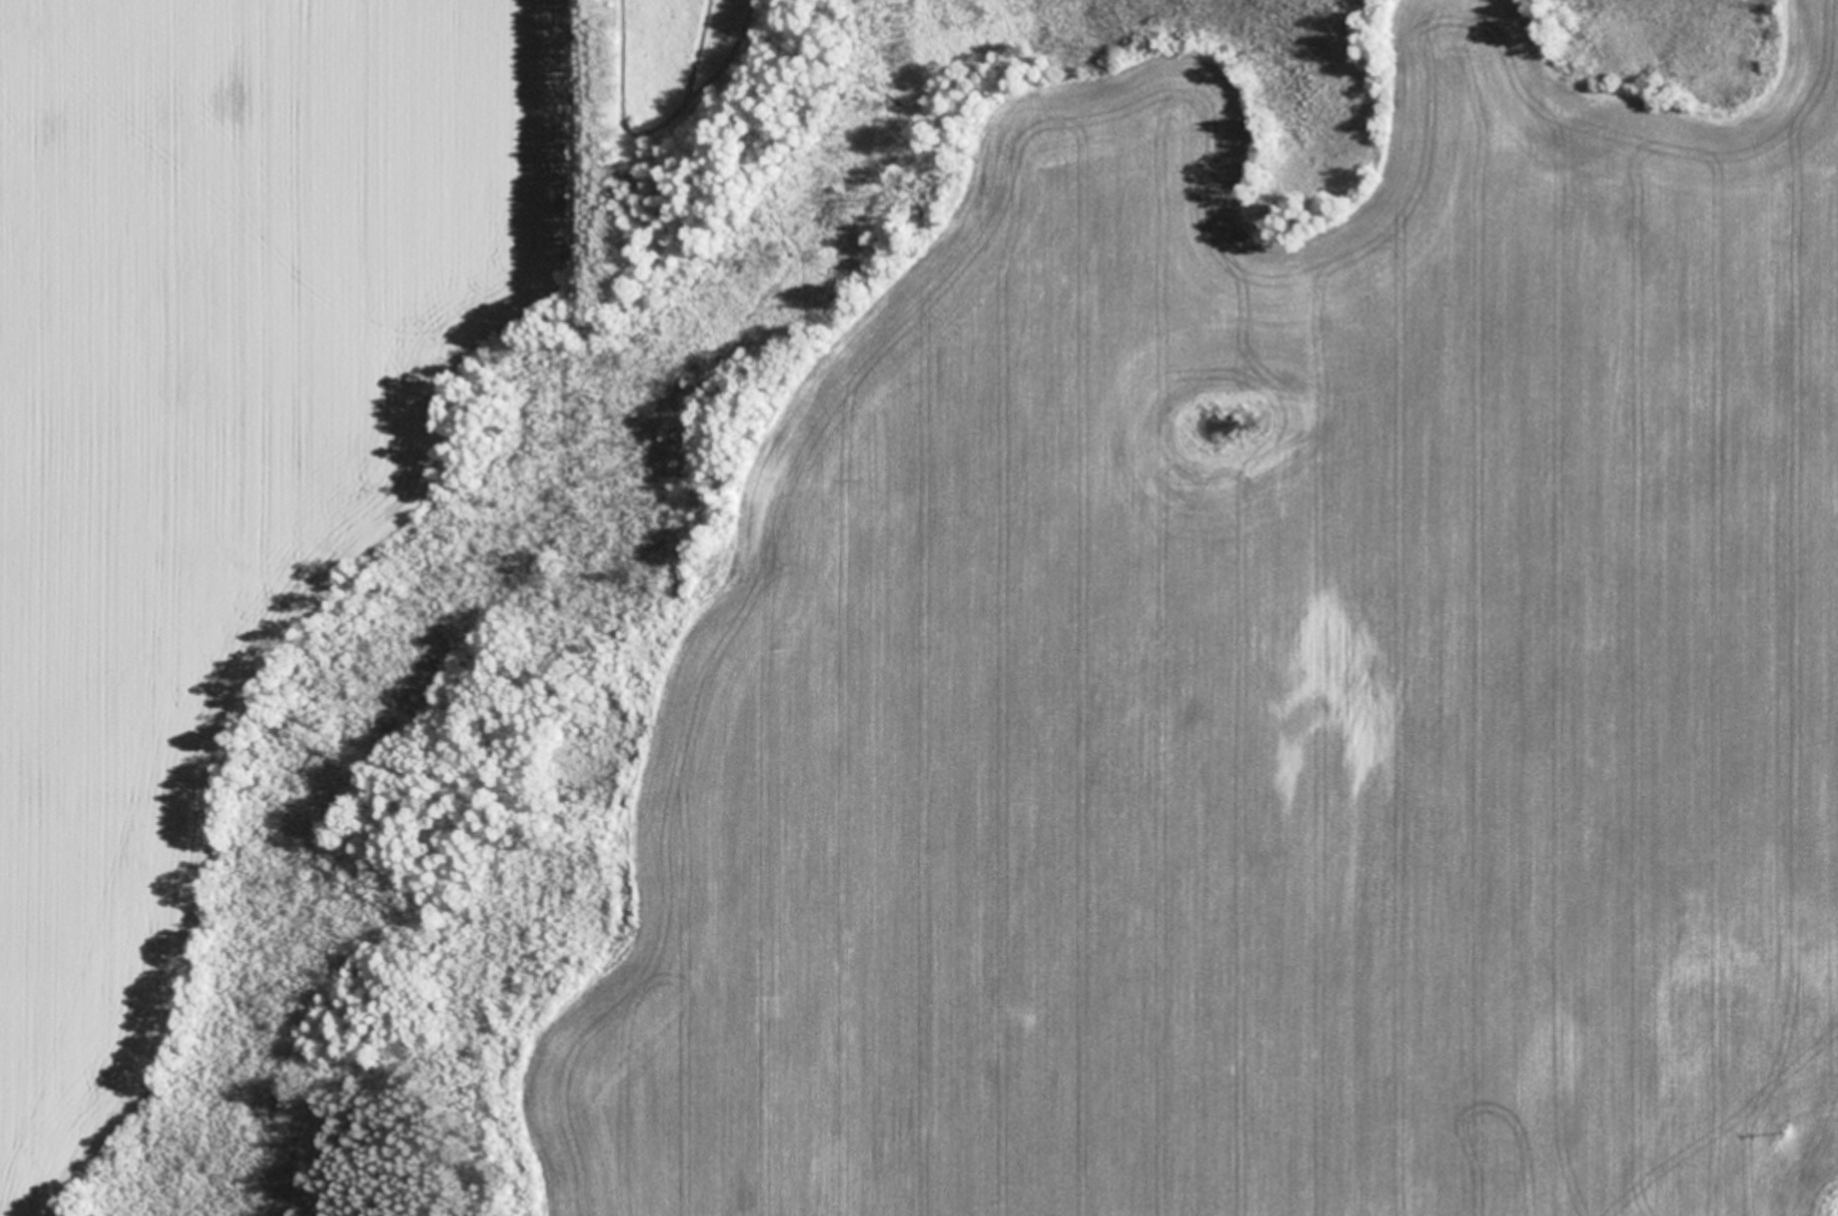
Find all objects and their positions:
crop: (214, 429)
building: (1723, 1154)

